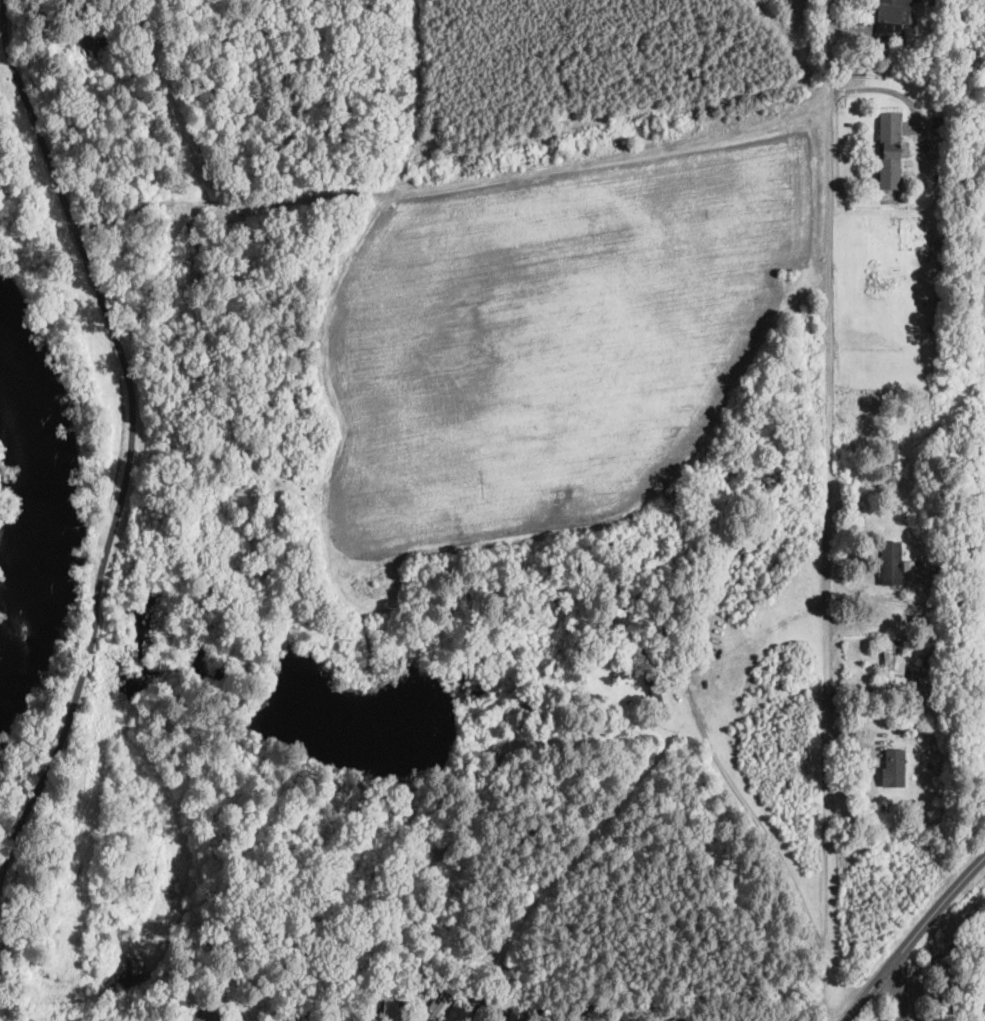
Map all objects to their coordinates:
building: (892, 16)
building: (92, 38)
road: (881, 89)
building: (78, 93)
building: (67, 95)
building: (889, 151)
park: (423, 281)
road: (99, 293)
building: (893, 461)
river: (37, 488)
road: (825, 510)
building: (677, 515)
building: (757, 543)
building: (890, 563)
building: (919, 566)
building: (909, 567)
road: (97, 604)
building: (919, 621)
building: (610, 650)
building: (890, 659)
building: (930, 661)
building: (622, 674)
building: (657, 698)
building: (907, 739)
road: (57, 750)
building: (894, 769)
building: (945, 779)
park: (107, 827)
road: (765, 832)
road: (942, 911)
building: (943, 967)
building: (443, 984)
building: (420, 992)
road: (876, 993)
road: (901, 993)
building: (314, 995)
building: (391, 1001)
building: (242, 1004)
building: (441, 1004)
building: (484, 1007)
building: (519, 1009)
building: (549, 1012)
building: (591, 1014)
building: (632, 1015)
building: (674, 1016)
building: (716, 1016)
building: (796, 1017)

